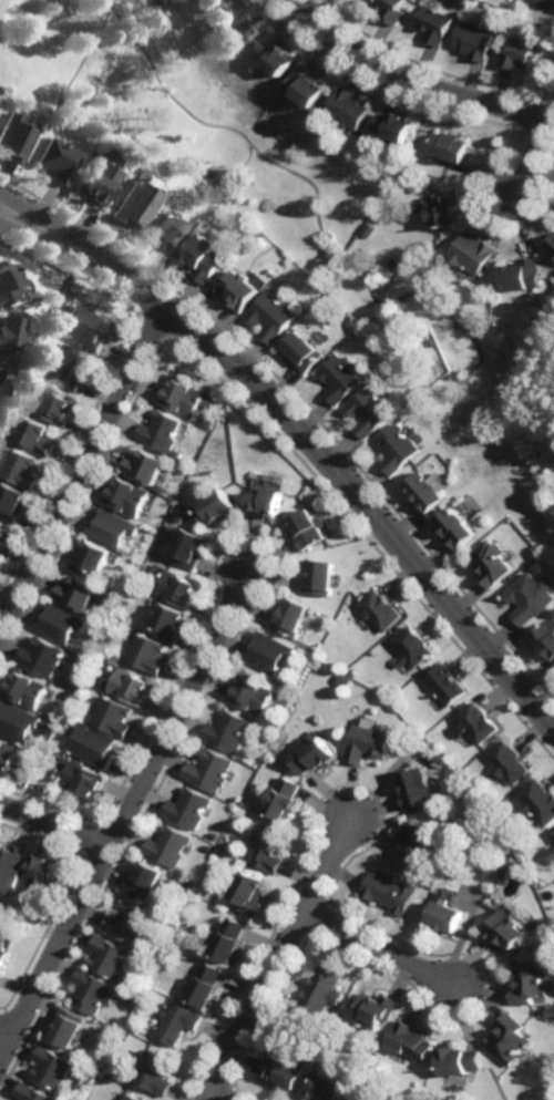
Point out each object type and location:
building: (218, 2)
building: (548, 2)
building: (392, 9)
building: (245, 21)
building: (435, 23)
building: (475, 39)
building: (520, 52)
building: (278, 55)
road: (418, 79)
building: (310, 83)
building: (353, 107)
building: (397, 125)
building: (13, 137)
building: (451, 146)
road: (535, 155)
building: (57, 160)
building: (96, 178)
building: (134, 203)
road: (19, 208)
building: (447, 208)
road: (19, 220)
building: (167, 235)
building: (551, 245)
building: (475, 253)
building: (205, 258)
building: (524, 275)
building: (4, 284)
building: (238, 290)
building: (274, 317)
building: (84, 328)
building: (7, 335)
building: (398, 346)
building: (302, 352)
building: (0, 363)
building: (0, 366)
building: (65, 368)
building: (341, 378)
building: (185, 398)
building: (53, 405)
building: (370, 413)
building: (208, 423)
building: (161, 431)
building: (34, 435)
building: (399, 450)
road: (318, 451)
building: (146, 467)
building: (20, 469)
road: (84, 470)
building: (427, 493)
building: (129, 497)
building: (11, 503)
building: (266, 504)
building: (215, 510)
building: (112, 530)
building: (459, 531)
building: (307, 532)
building: (3, 535)
building: (189, 549)
building: (91, 558)
building: (494, 564)
building: (320, 578)
building: (179, 590)
building: (78, 595)
building: (532, 599)
building: (381, 611)
building: (290, 618)
building: (170, 624)
building: (60, 625)
building: (546, 644)
building: (412, 648)
building: (147, 655)
building: (268, 655)
building: (42, 659)
building: (445, 686)
building: (25, 688)
building: (133, 688)
building: (250, 695)
building: (113, 715)
building: (18, 721)
building: (480, 721)
building: (227, 729)
building: (373, 740)
building: (93, 743)
building: (318, 752)
building: (7, 753)
building: (65, 759)
building: (511, 760)
building: (209, 769)
building: (82, 779)
building: (420, 787)
building: (285, 796)
building: (541, 800)
building: (187, 806)
road: (125, 818)
road: (55, 825)
building: (553, 833)
building: (419, 839)
building: (168, 845)
building: (273, 846)
building: (208, 847)
building: (552, 851)
building: (11, 866)
building: (510, 870)
building: (42, 873)
building: (144, 880)
building: (187, 885)
building: (393, 890)
building: (249, 892)
building: (449, 912)
building: (131, 923)
building: (510, 929)
building: (228, 939)
road: (384, 948)
building: (2, 958)
building: (113, 959)
road: (280, 959)
building: (534, 983)
building: (206, 985)
building: (93, 991)
building: (322, 993)
building: (376, 1009)
building: (177, 1022)
building: (68, 1027)
road: (8, 1030)
building: (512, 1039)
building: (413, 1041)
building: (462, 1061)
building: (55, 1069)
building: (363, 1069)
building: (284, 1072)
building: (155, 1073)
building: (330, 1086)
building: (32, 1093)
building: (132, 1098)
road: (216, 1098)

